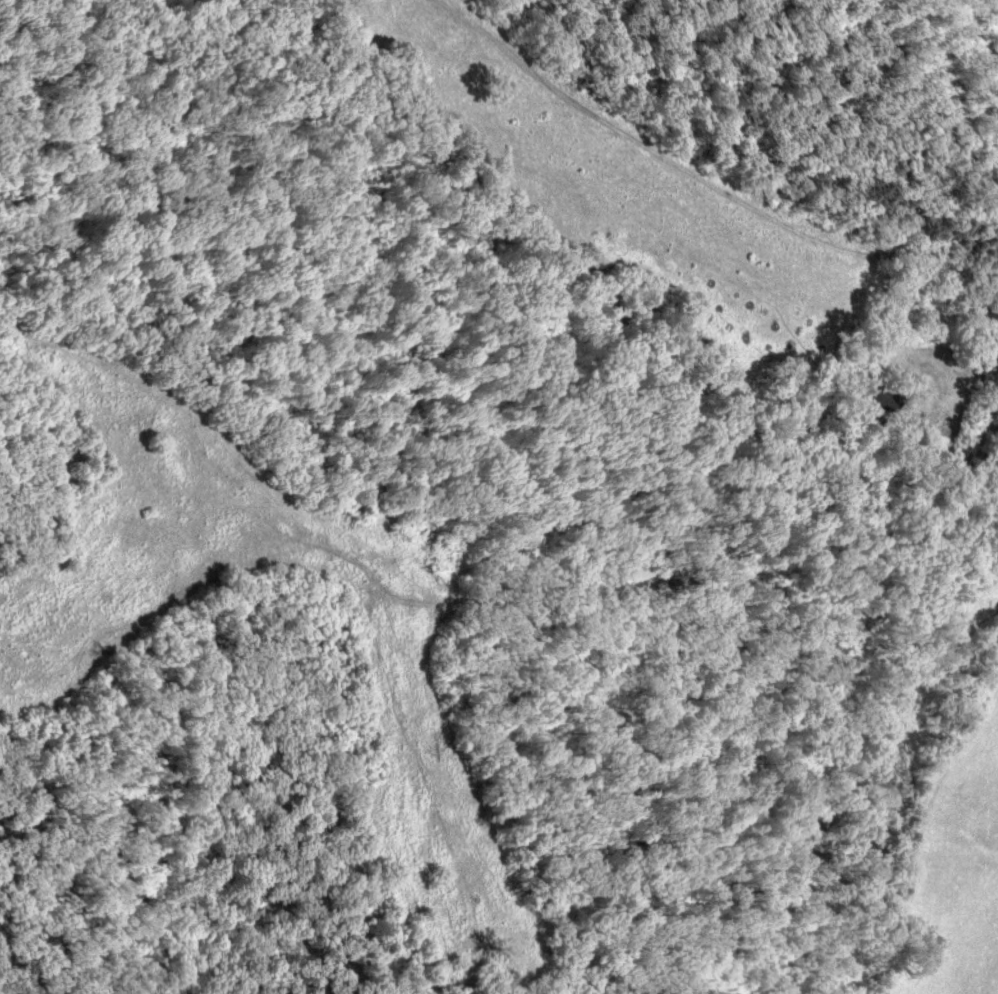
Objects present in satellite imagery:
building: (981, 306)
building: (878, 395)

